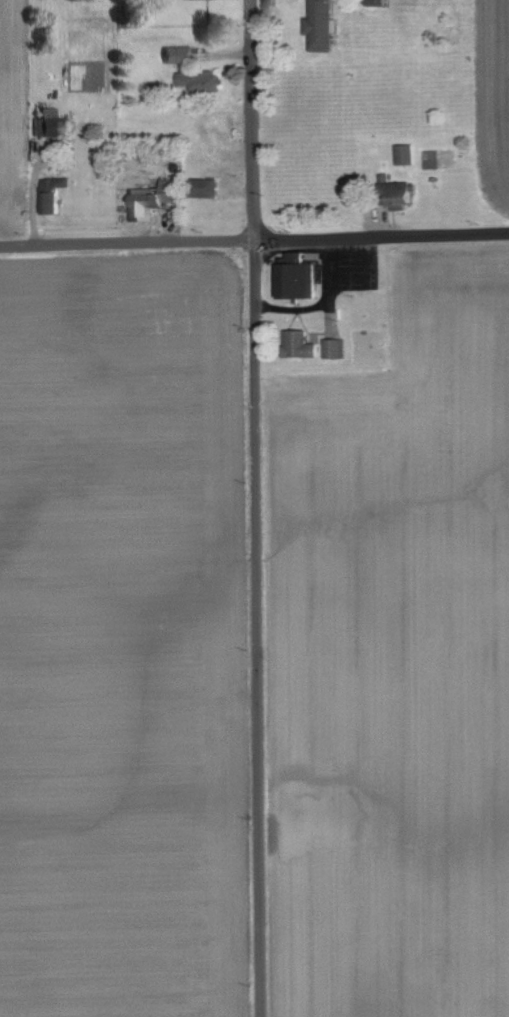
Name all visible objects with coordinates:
building: (322, 24)
building: (180, 54)
building: (186, 78)
building: (49, 123)
building: (217, 124)
building: (405, 154)
building: (207, 187)
building: (52, 199)
building: (404, 199)
building: (153, 200)
road: (254, 239)
road: (326, 241)
parking lot: (348, 266)
road: (327, 267)
building: (294, 278)
road: (328, 301)
road: (291, 309)
road: (328, 325)
building: (296, 345)
building: (333, 348)
road: (255, 508)

